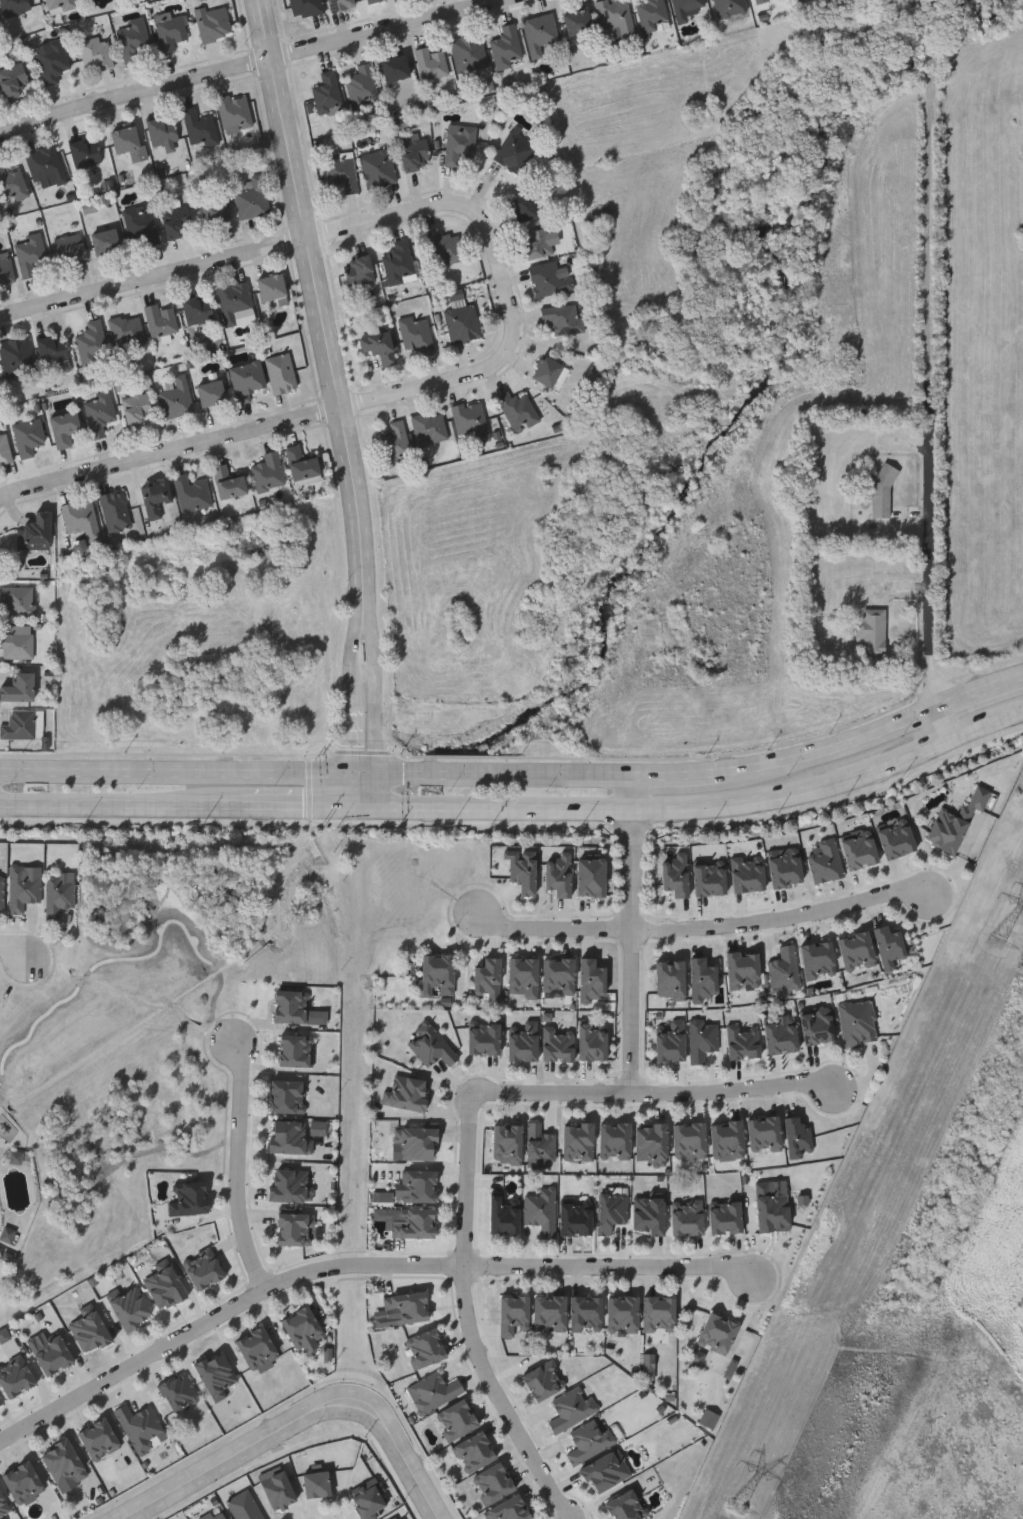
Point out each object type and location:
building: (860, 0)
building: (372, 1)
building: (760, 1)
building: (340, 4)
building: (60, 5)
building: (14, 6)
building: (306, 7)
building: (729, 7)
building: (686, 8)
building: (652, 14)
building: (615, 17)
building: (577, 21)
building: (214, 24)
road: (932, 31)
building: (540, 32)
building: (172, 33)
building: (132, 39)
building: (507, 47)
building: (469, 52)
building: (95, 53)
building: (52, 60)
building: (431, 63)
road: (260, 65)
building: (395, 67)
building: (13, 80)
building: (362, 84)
building: (327, 91)
building: (0, 104)
building: (234, 112)
building: (201, 127)
building: (162, 131)
building: (460, 142)
building: (128, 143)
building: (413, 150)
building: (516, 151)
building: (85, 152)
building: (46, 166)
building: (378, 167)
building: (342, 169)
building: (12, 184)
building: (252, 198)
building: (525, 206)
building: (214, 211)
building: (177, 222)
building: (141, 226)
road: (314, 240)
building: (106, 242)
building: (538, 242)
building: (74, 248)
building: (444, 248)
building: (31, 255)
building: (399, 262)
building: (359, 269)
building: (6, 270)
building: (549, 279)
building: (271, 287)
building: (234, 301)
road: (323, 307)
building: (197, 309)
building: (563, 318)
building: (161, 320)
building: (463, 323)
building: (127, 331)
building: (417, 334)
building: (92, 343)
building: (379, 346)
building: (52, 349)
building: (17, 356)
building: (281, 372)
building: (550, 372)
building: (245, 380)
road: (934, 386)
building: (210, 394)
building: (176, 398)
building: (137, 407)
building: (519, 409)
building: (99, 413)
building: (471, 419)
building: (430, 427)
building: (64, 428)
road: (256, 434)
building: (28, 437)
building: (396, 443)
building: (4, 447)
building: (302, 465)
building: (268, 472)
building: (227, 482)
building: (191, 493)
building: (883, 496)
building: (154, 497)
building: (115, 511)
building: (81, 519)
building: (35, 531)
building: (17, 600)
building: (874, 633)
building: (17, 641)
building: (17, 687)
road: (981, 692)
road: (354, 711)
road: (375, 712)
building: (19, 723)
road: (945, 725)
road: (986, 725)
road: (830, 748)
road: (897, 763)
road: (318, 771)
traffic signals: (353, 771)
traffic signals: (377, 771)
road: (676, 774)
road: (121, 808)
road: (309, 809)
traffic signals: (351, 810)
traffic signals: (376, 810)
road: (610, 811)
building: (955, 821)
building: (896, 840)
building: (859, 850)
building: (825, 861)
building: (785, 866)
building: (747, 874)
building: (709, 879)
building: (23, 888)
building: (1, 892)
building: (59, 894)
road: (785, 919)
road: (554, 927)
road: (634, 933)
power tower: (995, 942)
building: (888, 946)
road: (16, 950)
building: (856, 950)
building: (817, 959)
building: (743, 968)
building: (696, 969)
building: (784, 969)
building: (437, 973)
building: (523, 974)
building: (558, 975)
building: (487, 978)
building: (290, 1005)
building: (856, 1023)
building: (817, 1025)
building: (780, 1036)
building: (483, 1037)
building: (702, 1039)
building: (670, 1040)
building: (743, 1040)
building: (522, 1041)
building: (592, 1042)
building: (557, 1044)
building: (430, 1045)
building: (294, 1050)
building: (286, 1093)
building: (405, 1093)
road: (731, 1093)
road: (553, 1094)
power tower: (998, 1121)
building: (763, 1133)
building: (294, 1135)
building: (797, 1135)
building: (727, 1139)
building: (578, 1140)
building: (615, 1140)
building: (651, 1140)
building: (689, 1140)
building: (507, 1142)
building: (417, 1143)
building: (540, 1143)
road: (240, 1166)
road: (469, 1181)
building: (419, 1183)
building: (287, 1185)
building: (191, 1197)
building: (770, 1208)
building: (541, 1211)
building: (611, 1211)
building: (503, 1213)
building: (648, 1214)
building: (724, 1217)
building: (575, 1218)
building: (687, 1218)
building: (415, 1223)
building: (294, 1227)
road: (611, 1267)
building: (203, 1268)
building: (165, 1286)
building: (131, 1307)
building: (407, 1307)
building: (550, 1311)
building: (586, 1312)
building: (623, 1313)
building: (658, 1313)
building: (513, 1314)
road: (221, 1315)
building: (302, 1326)
building: (90, 1331)
building: (717, 1333)
building: (425, 1347)
building: (258, 1349)
building: (51, 1353)
building: (216, 1373)
building: (543, 1380)
building: (179, 1391)
building: (434, 1391)
road: (502, 1397)
building: (1, 1401)
power tower: (869, 1401)
building: (571, 1409)
building: (457, 1419)
building: (139, 1426)
building: (99, 1438)
building: (589, 1440)
building: (474, 1452)
road: (246, 1454)
road: (405, 1459)
building: (63, 1461)
building: (606, 1471)
building: (23, 1481)
building: (315, 1483)
building: (493, 1483)
building: (277, 1489)
building: (366, 1501)
building: (3, 1505)
building: (244, 1506)
building: (625, 1506)
power tower: (740, 1507)
building: (509, 1509)
building: (215, 1515)

